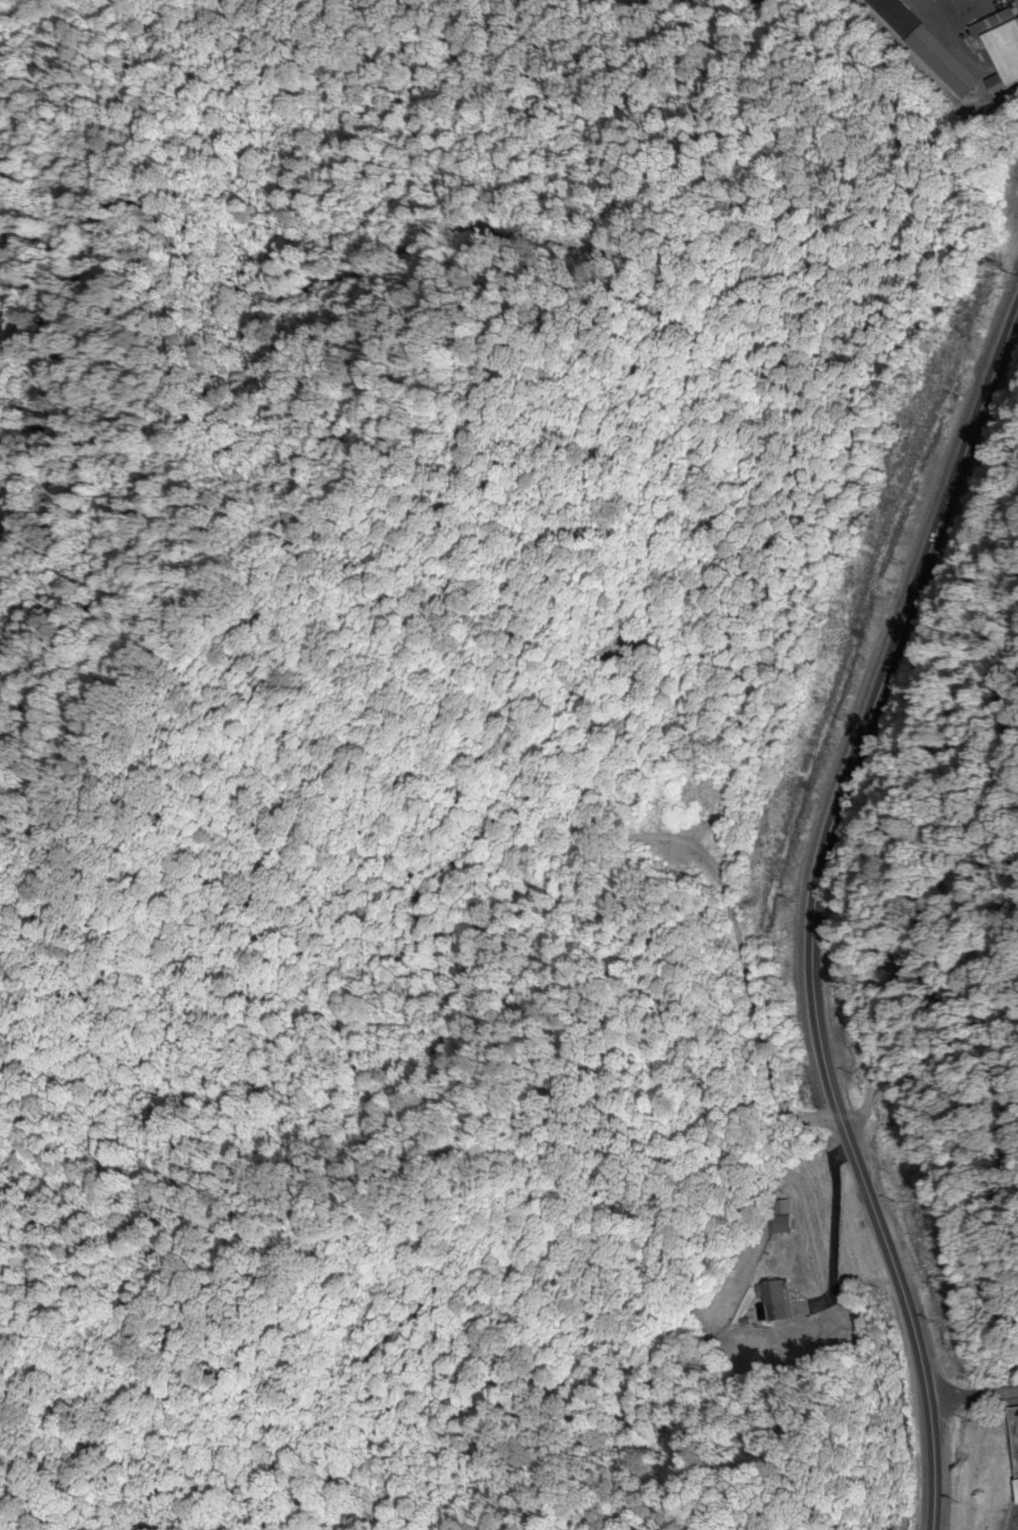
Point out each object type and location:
building: (923, 46)
building: (1000, 49)
road: (816, 912)
building: (778, 1217)
building: (771, 1303)
building: (1015, 1434)

